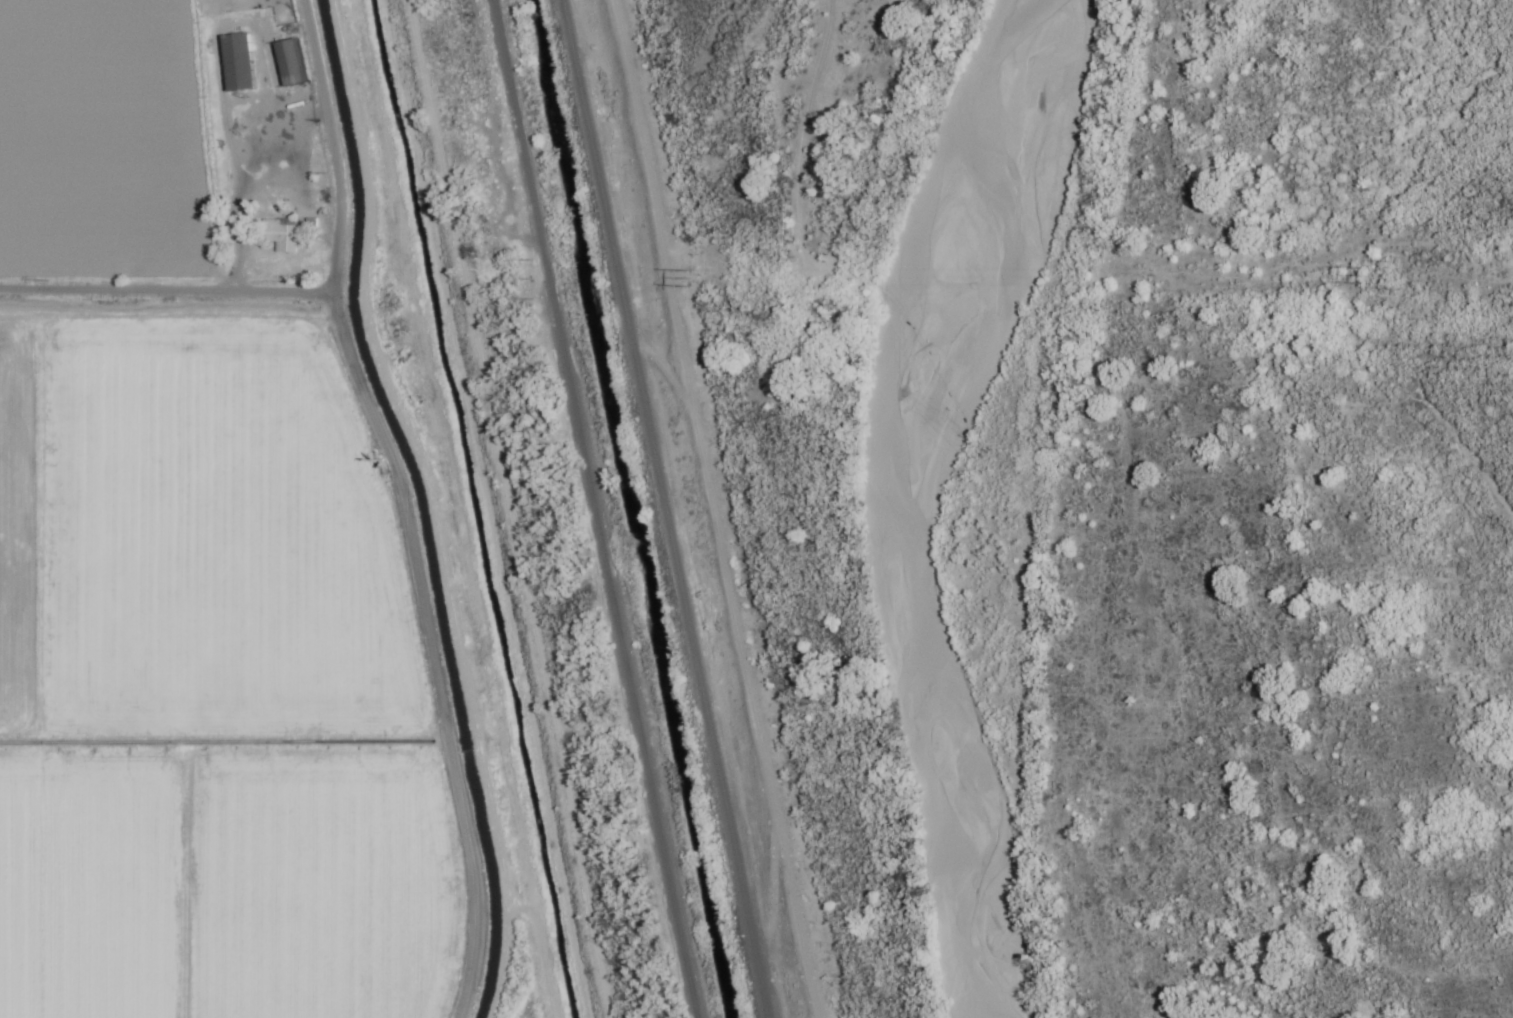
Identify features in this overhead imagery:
building: (237, 64)
building: (288, 64)
building: (282, 236)
road: (162, 294)
river: (891, 500)
road: (390, 506)
road: (707, 507)
road: (594, 509)
crop: (188, 585)

